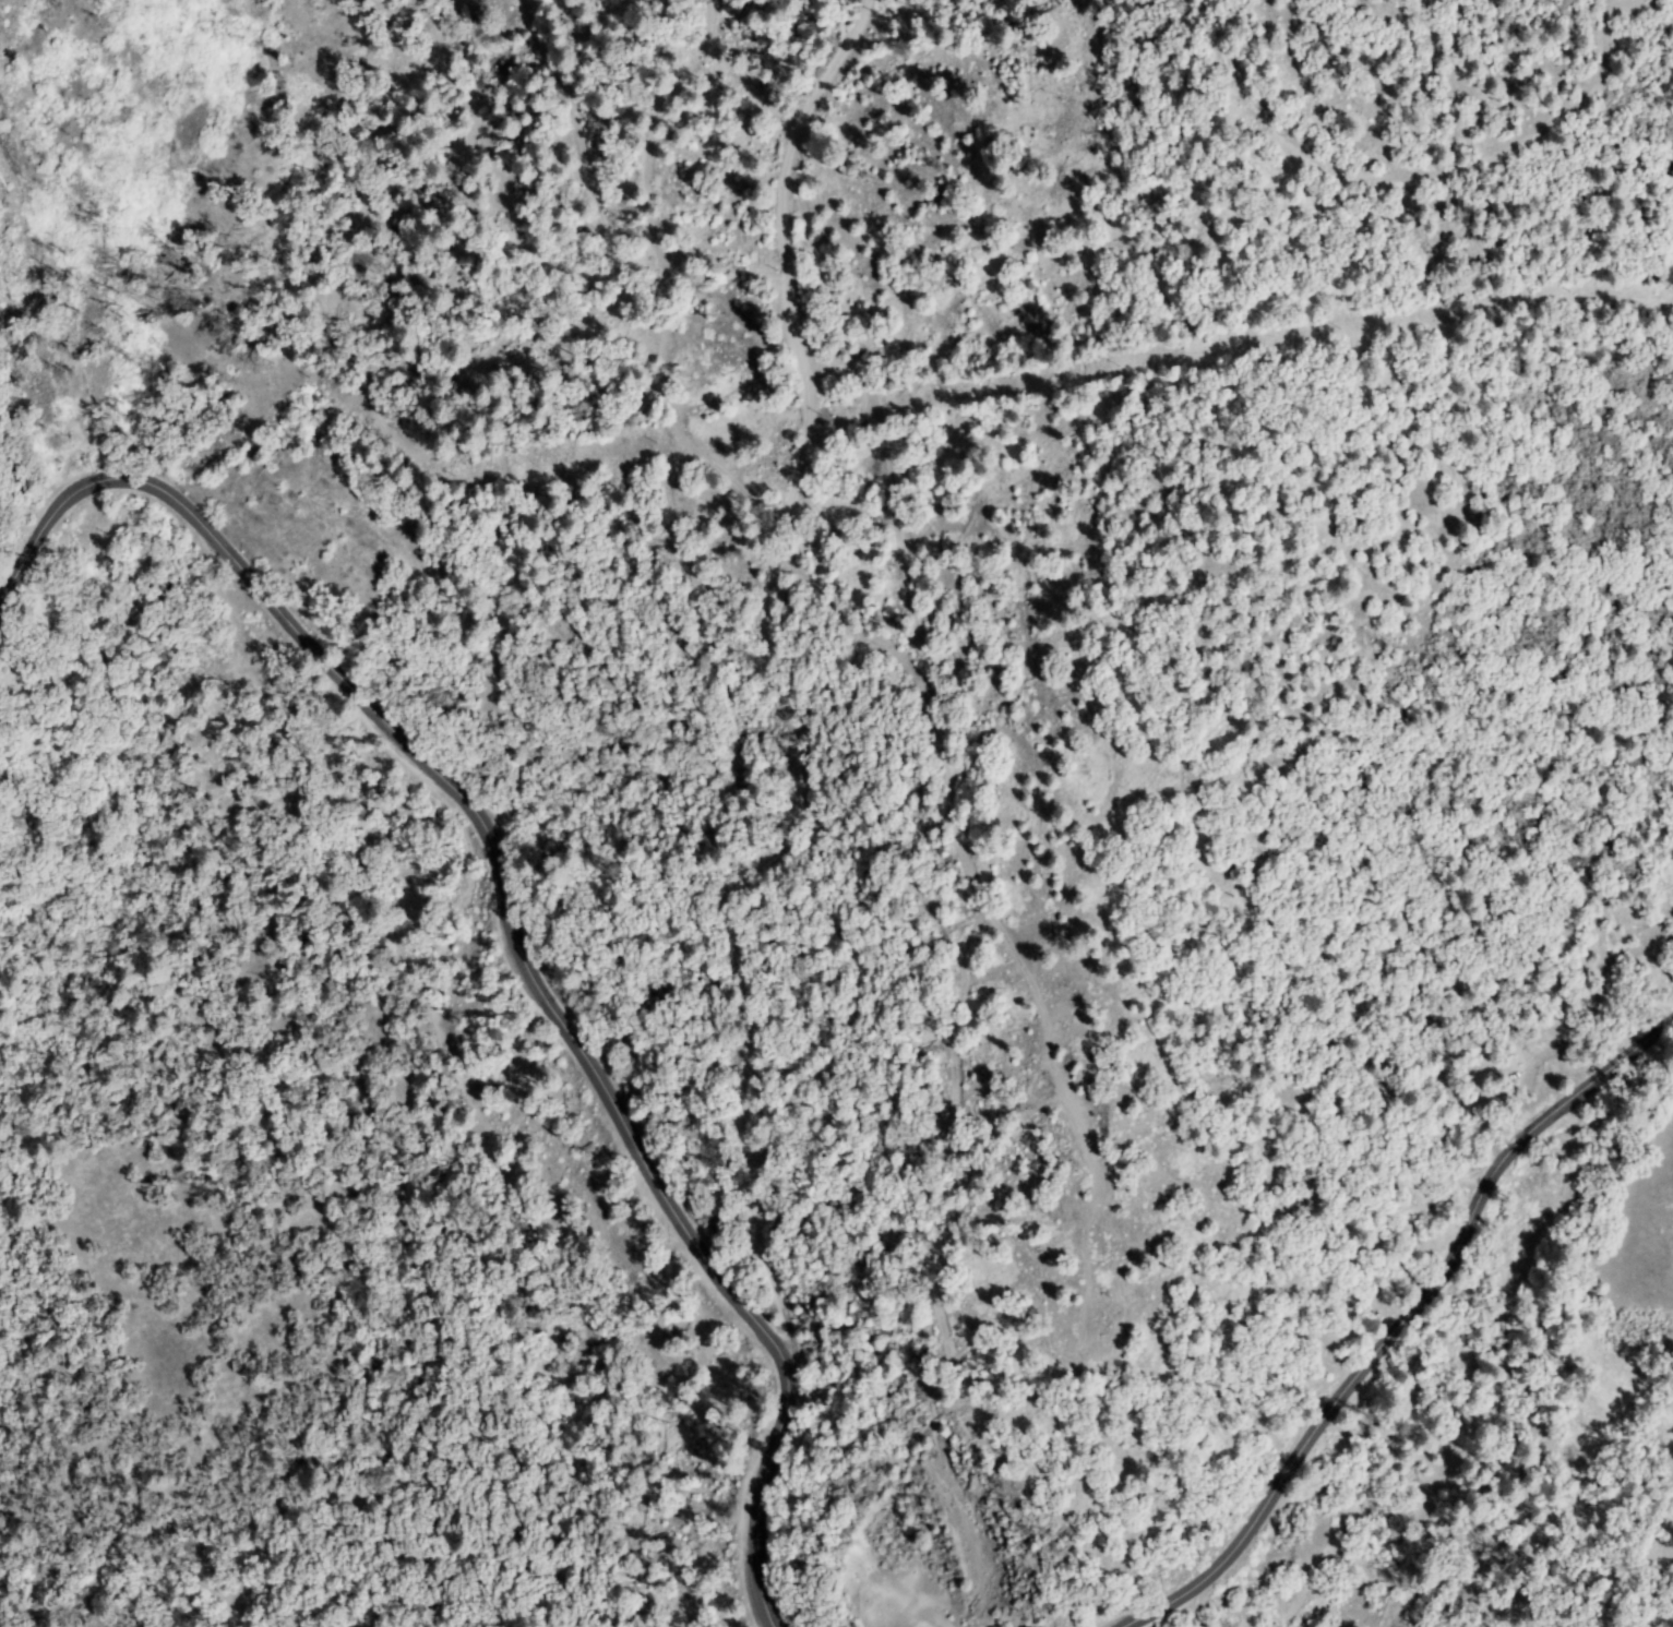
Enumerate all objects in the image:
road: (762, 704)
road: (509, 926)
road: (1401, 1324)

